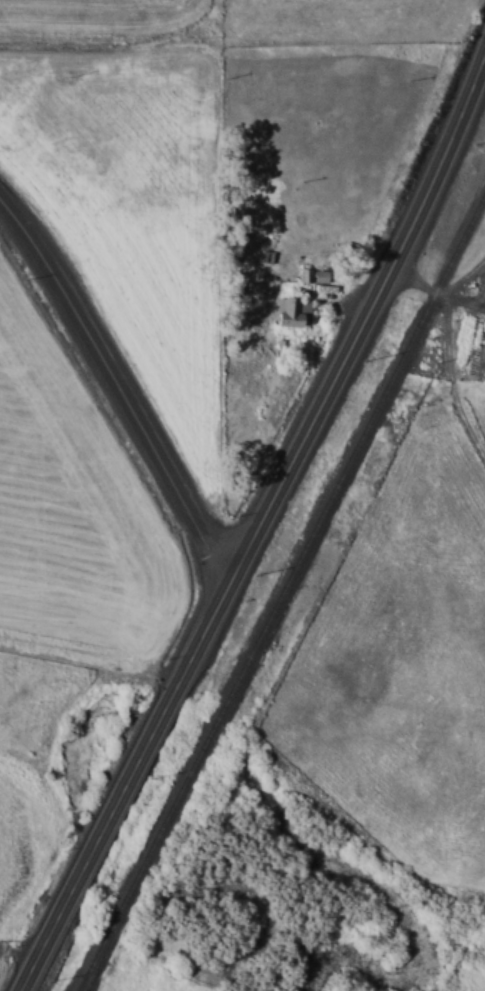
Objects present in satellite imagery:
building: (232, 231)
road: (435, 291)
building: (292, 311)
road: (116, 387)
road: (259, 524)
railway: (278, 592)

